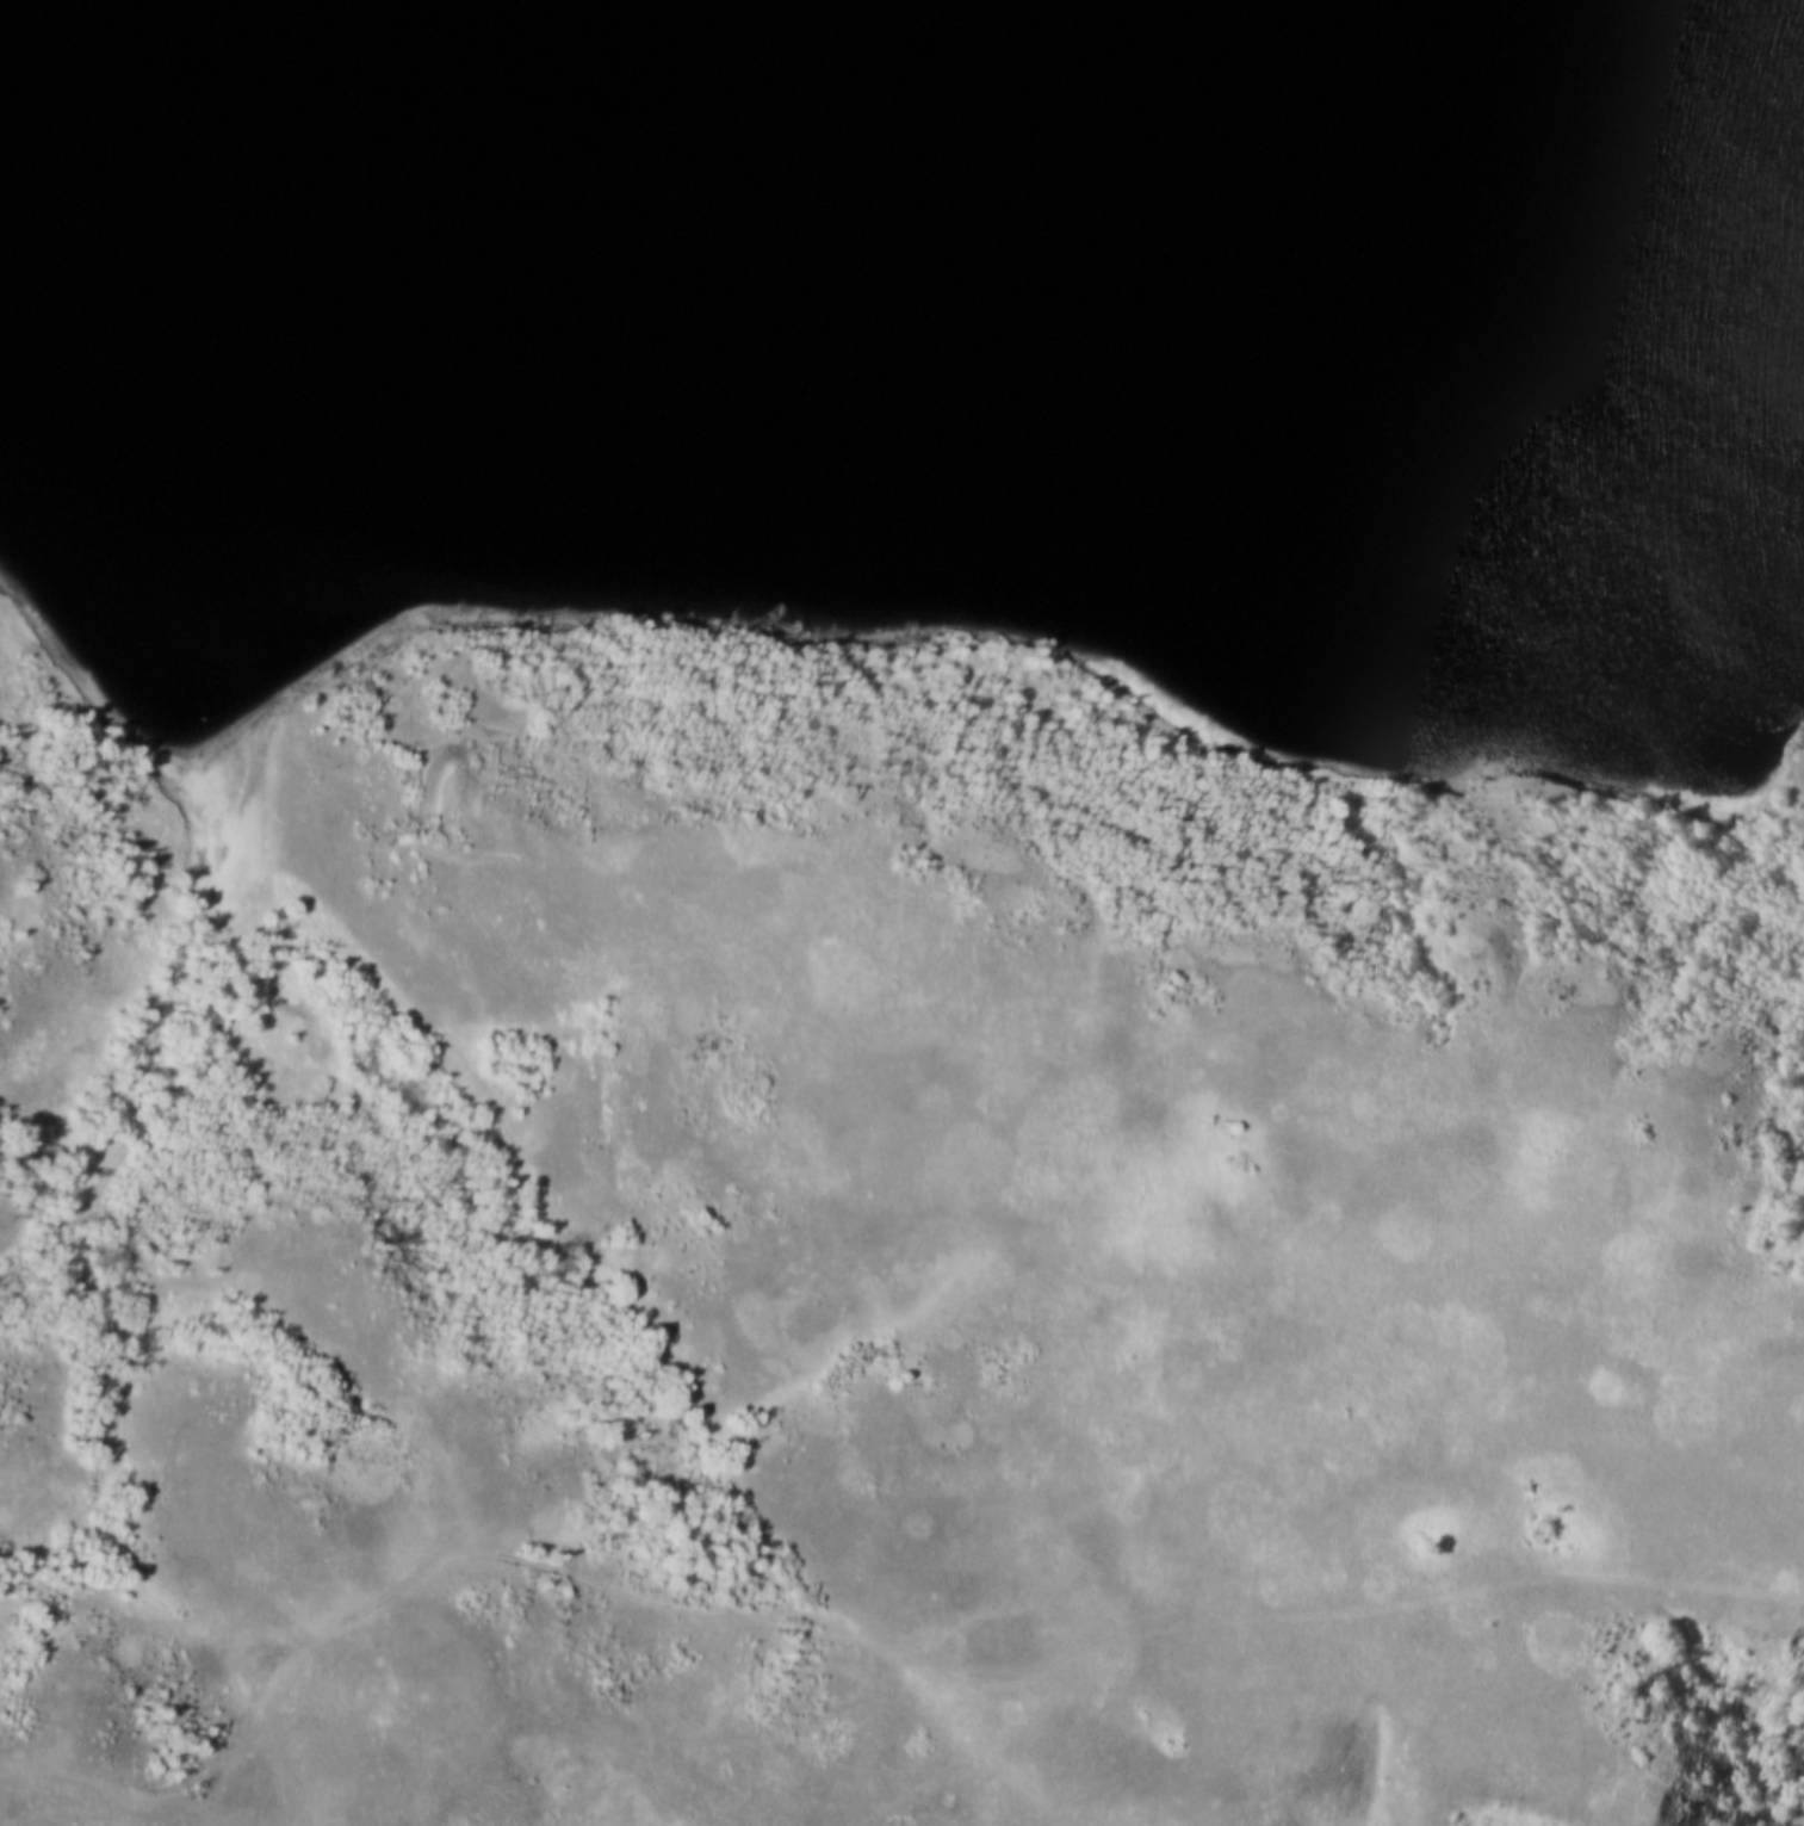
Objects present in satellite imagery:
road: (23, 1764)

